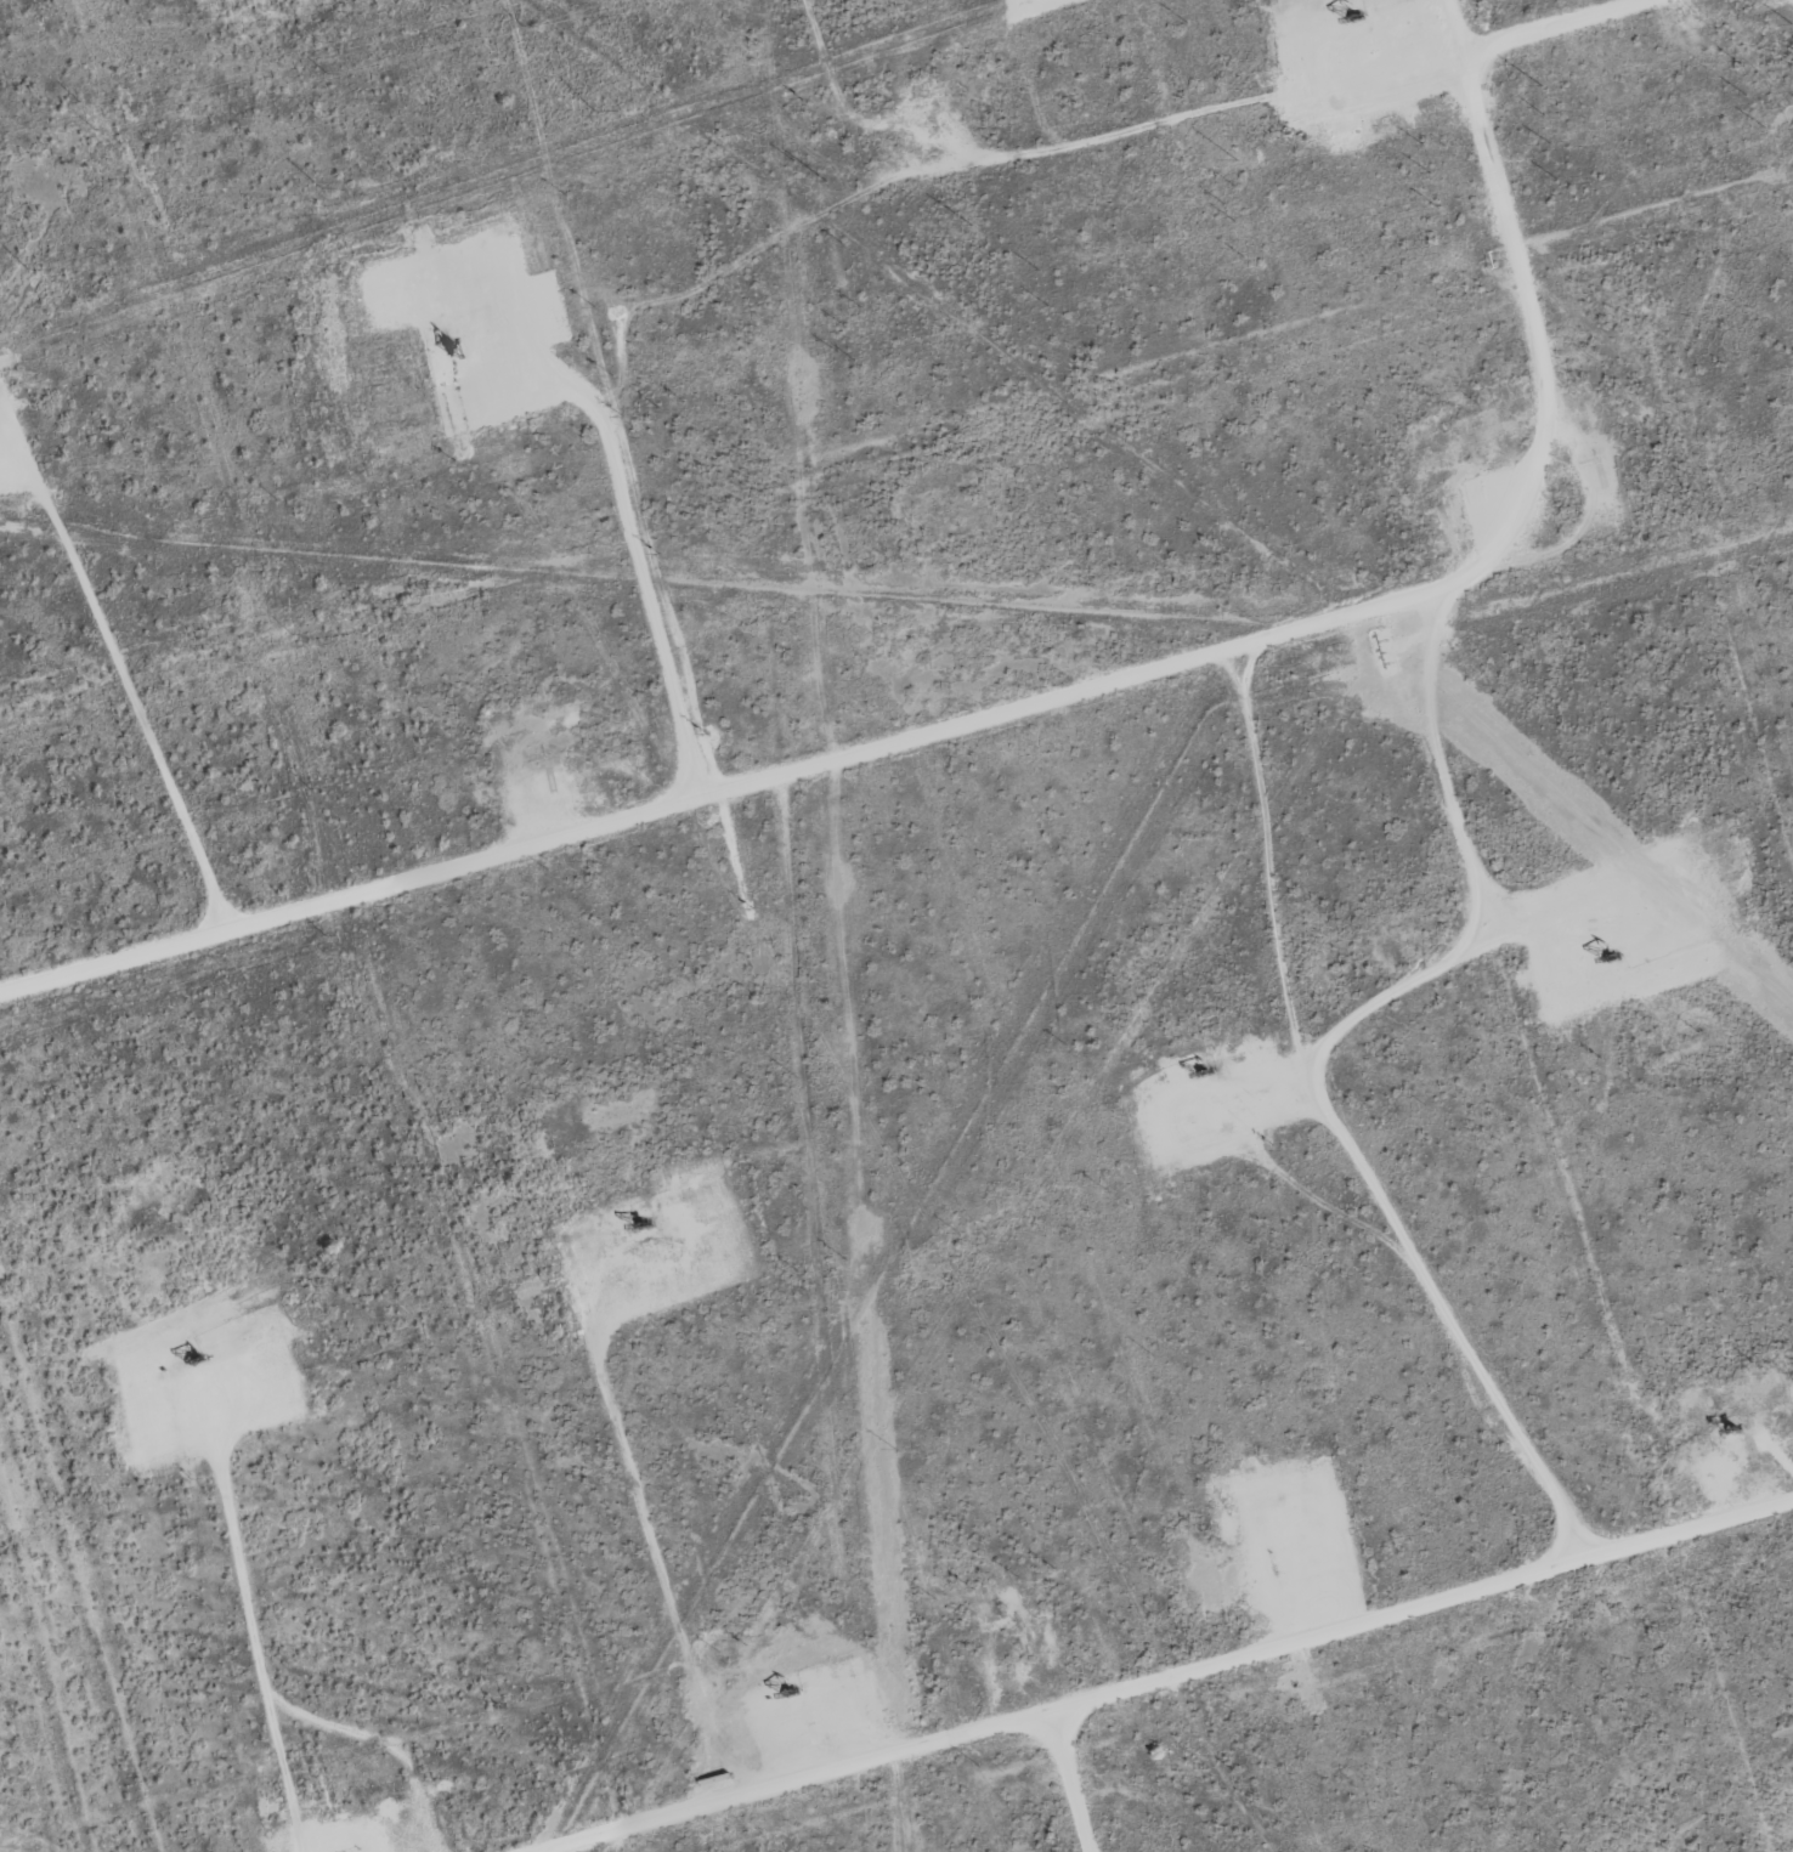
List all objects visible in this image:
road: (1554, 23)
power tower: (1792, 23)
power tower: (1539, 85)
power tower: (592, 111)
power tower: (1237, 159)
power tower: (826, 180)
power tower: (318, 186)
power tower: (972, 226)
power tower: (27, 267)
road: (1025, 709)
petroleum well: (1602, 959)
petroleum well: (1731, 1425)
road: (1169, 1675)
road: (1071, 1782)

